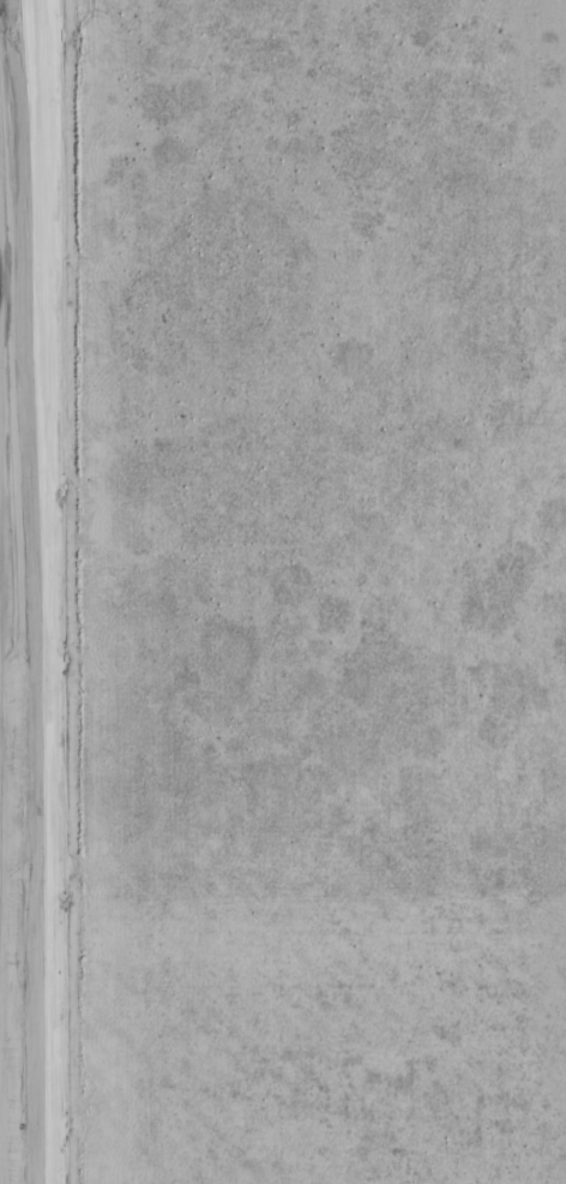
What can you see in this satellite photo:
road: (55, 592)

